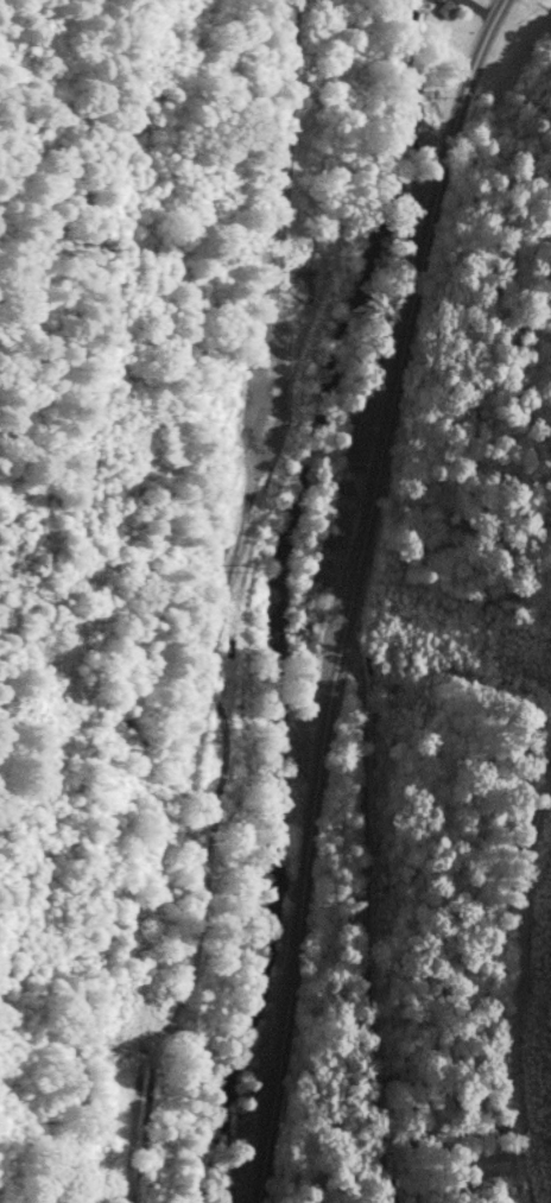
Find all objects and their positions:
building: (443, 12)
road: (350, 594)

